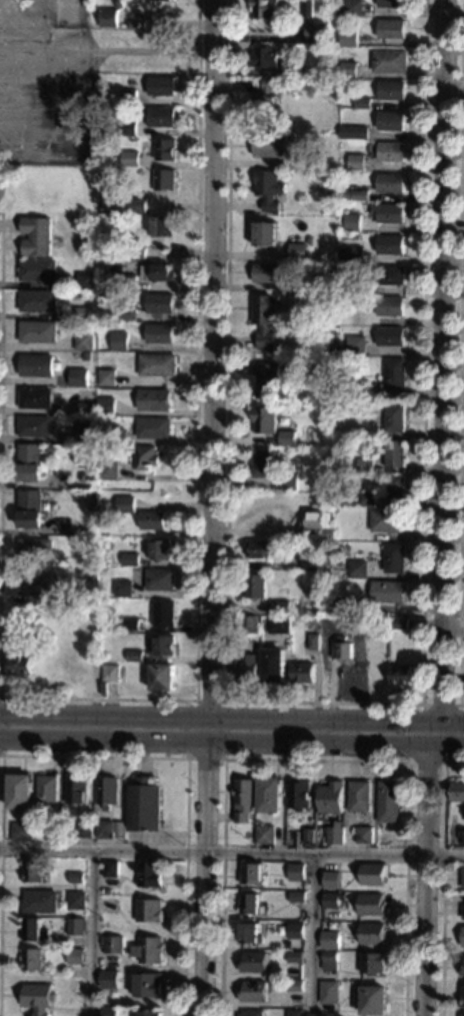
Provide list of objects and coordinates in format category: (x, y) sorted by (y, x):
building: (171, 0)
building: (157, 3)
building: (391, 3)
building: (265, 8)
building: (307, 8)
building: (353, 8)
building: (106, 18)
building: (391, 29)
building: (315, 33)
building: (348, 38)
road: (155, 51)
building: (265, 57)
building: (389, 61)
building: (348, 70)
building: (297, 71)
building: (161, 86)
building: (391, 90)
building: (128, 97)
building: (266, 99)
building: (362, 103)
building: (161, 117)
building: (390, 121)
building: (127, 128)
building: (353, 132)
building: (269, 145)
building: (164, 150)
building: (391, 152)
building: (129, 158)
building: (303, 161)
building: (356, 162)
building: (164, 180)
building: (391, 183)
building: (270, 191)
building: (354, 195)
building: (137, 205)
road: (1, 213)
building: (390, 213)
building: (352, 223)
building: (160, 230)
building: (265, 234)
building: (35, 236)
building: (302, 239)
building: (390, 245)
building: (297, 251)
building: (143, 253)
building: (351, 254)
building: (37, 270)
building: (156, 272)
building: (370, 272)
building: (265, 273)
building: (391, 275)
building: (84, 281)
building: (127, 282)
building: (352, 285)
building: (297, 287)
building: (99, 294)
building: (37, 301)
building: (159, 303)
building: (390, 306)
building: (83, 314)
building: (127, 314)
building: (265, 320)
building: (92, 325)
building: (37, 331)
building: (159, 333)
building: (390, 336)
building: (119, 341)
building: (83, 342)
building: (355, 345)
building: (333, 349)
road: (460, 355)
building: (315, 363)
building: (157, 365)
building: (36, 366)
road: (1, 374)
building: (106, 374)
building: (395, 374)
building: (77, 377)
building: (267, 381)
building: (367, 390)
building: (35, 398)
building: (153, 400)
building: (106, 406)
building: (87, 408)
building: (394, 418)
building: (264, 419)
building: (33, 426)
building: (153, 428)
building: (84, 432)
building: (117, 436)
building: (287, 439)
road: (196, 448)
building: (395, 454)
building: (145, 458)
building: (32, 461)
building: (261, 463)
building: (365, 465)
building: (108, 471)
building: (289, 481)
building: (395, 488)
building: (366, 499)
building: (318, 501)
building: (125, 505)
road: (210, 508)
road: (442, 508)
building: (29, 509)
building: (152, 520)
building: (315, 521)
building: (387, 521)
building: (324, 534)
building: (159, 549)
building: (258, 549)
building: (35, 550)
building: (394, 558)
building: (129, 559)
building: (310, 563)
building: (357, 570)
building: (160, 580)
building: (35, 585)
building: (255, 586)
building: (122, 589)
building: (387, 592)
building: (281, 607)
building: (337, 608)
building: (163, 614)
building: (86, 616)
building: (70, 619)
building: (379, 623)
building: (129, 624)
building: (249, 624)
building: (399, 624)
building: (279, 625)
building: (312, 642)
building: (162, 646)
building: (44, 647)
building: (343, 649)
building: (373, 650)
building: (12, 651)
building: (134, 656)
building: (273, 665)
building: (76, 668)
building: (245, 668)
building: (110, 673)
building: (302, 673)
building: (400, 675)
building: (162, 677)
road: (326, 702)
road: (226, 704)
road: (458, 705)
road: (232, 718)
road: (0, 735)
road: (231, 740)
road: (178, 756)
road: (316, 760)
building: (46, 788)
building: (19, 791)
building: (76, 791)
building: (106, 791)
building: (457, 791)
building: (269, 795)
building: (298, 795)
building: (359, 796)
building: (331, 798)
building: (243, 800)
building: (389, 802)
building: (144, 806)
building: (166, 809)
building: (56, 821)
building: (84, 829)
building: (104, 829)
building: (21, 832)
building: (334, 834)
building: (265, 835)
building: (364, 835)
building: (308, 836)
building: (463, 837)
road: (231, 852)
building: (32, 871)
building: (296, 872)
building: (110, 873)
building: (149, 874)
building: (251, 874)
building: (374, 875)
building: (75, 878)
building: (332, 880)
road: (444, 880)
building: (463, 881)
building: (301, 887)
building: (106, 892)
building: (297, 897)
building: (75, 900)
building: (331, 900)
building: (38, 902)
building: (249, 903)
building: (372, 904)
building: (148, 910)
building: (463, 912)
building: (75, 926)
building: (34, 930)
building: (295, 931)
road: (95, 932)
building: (250, 934)
road: (312, 934)
building: (373, 934)
building: (463, 937)
building: (330, 940)
building: (113, 945)
building: (148, 950)
building: (74, 956)
building: (296, 957)
building: (31, 960)
building: (330, 961)
building: (254, 962)
building: (373, 963)
building: (463, 971)
building: (108, 979)
building: (148, 986)
building: (296, 986)
building: (254, 992)
building: (329, 992)
building: (37, 998)
building: (461, 999)
building: (374, 1001)
building: (109, 1011)
building: (148, 1013)
building: (252, 1013)
building: (295, 1013)
building: (462, 1015)

